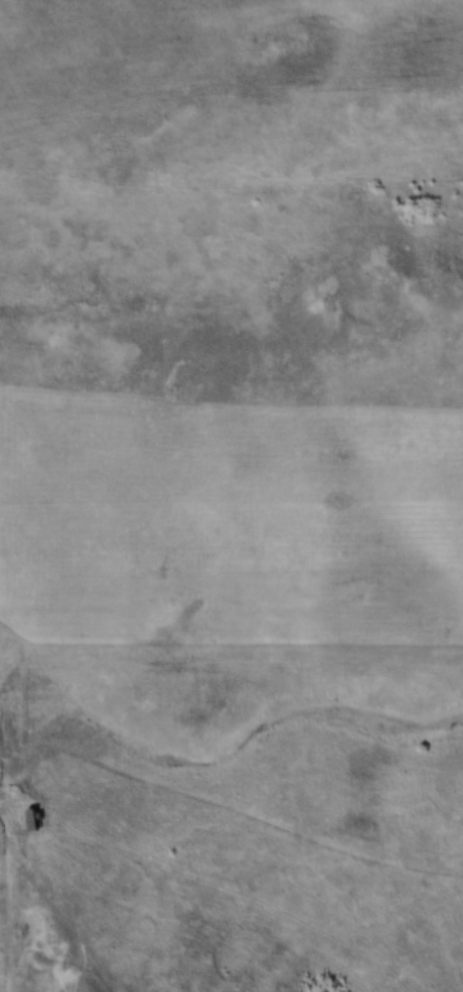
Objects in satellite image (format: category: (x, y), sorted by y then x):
road: (231, 186)
road: (362, 289)
building: (31, 818)
building: (20, 821)
road: (218, 885)
road: (55, 917)

